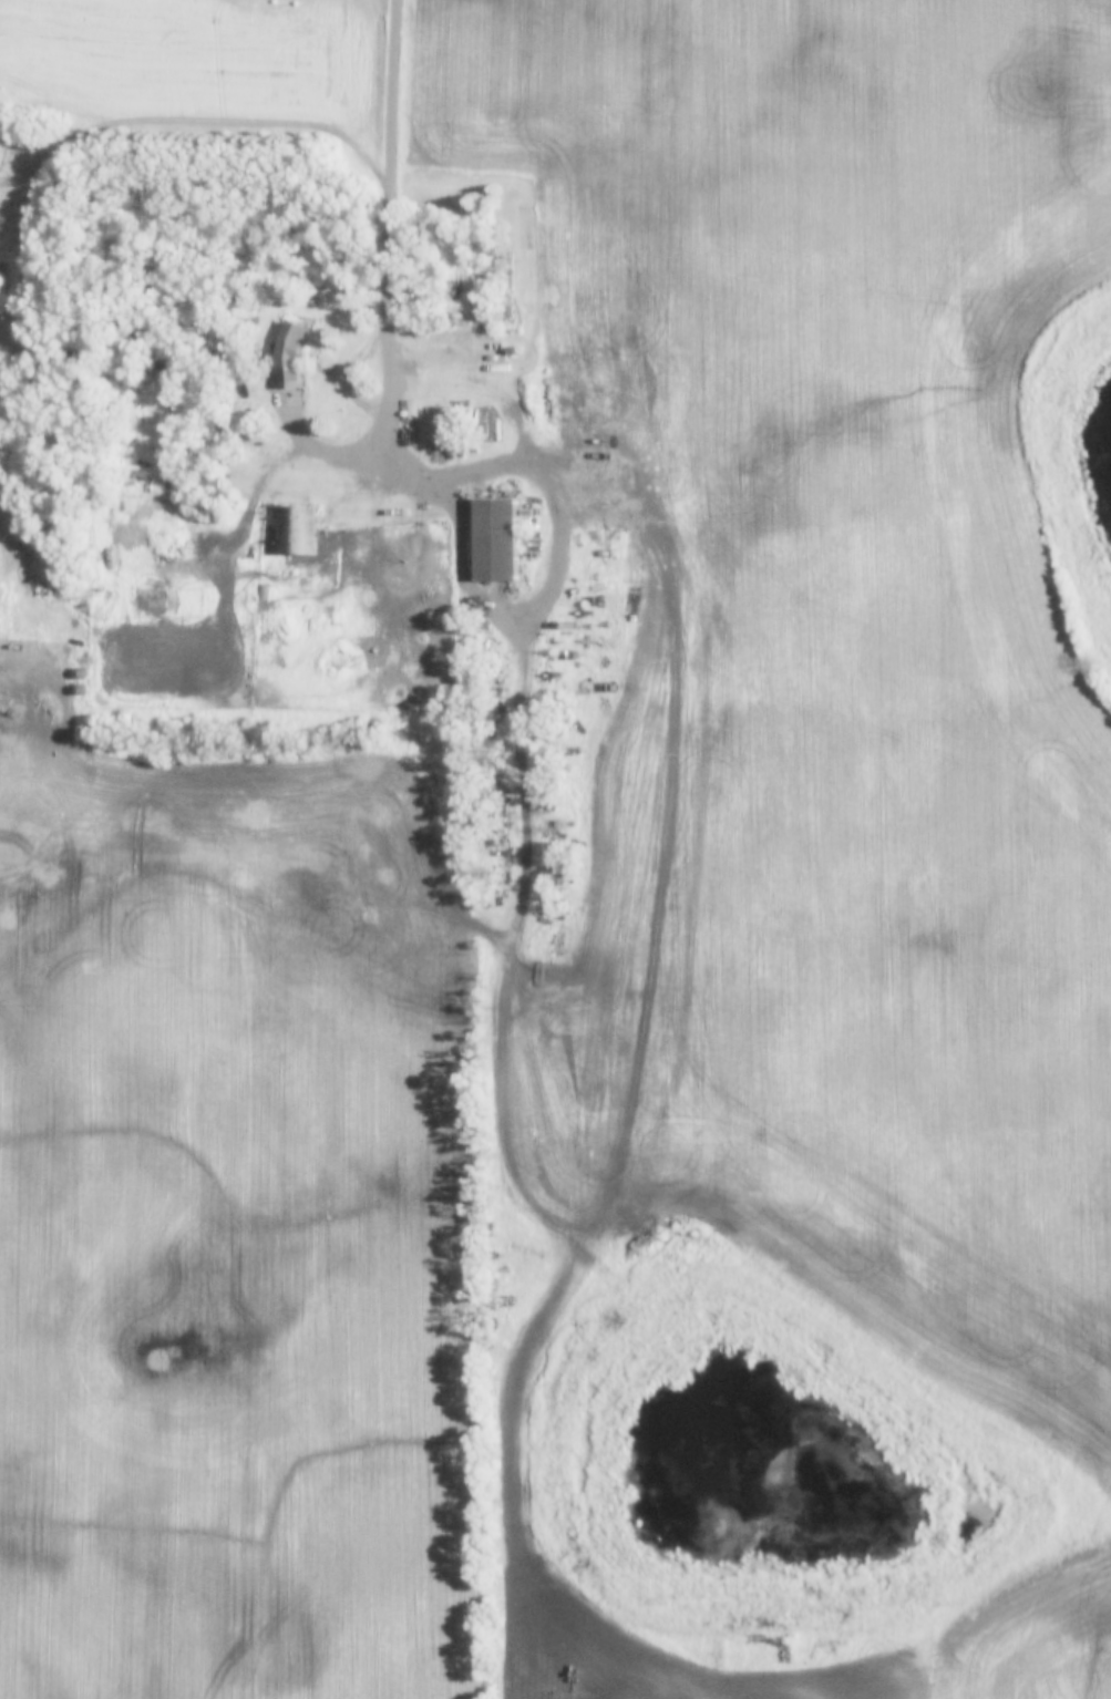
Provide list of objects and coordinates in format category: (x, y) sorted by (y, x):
road: (138, 125)
road: (394, 163)
building: (291, 354)
building: (163, 370)
silo: (163, 370)
road: (377, 412)
road: (545, 455)
building: (302, 531)
building: (497, 537)
building: (265, 593)
building: (153, 601)
building: (81, 673)
silo: (81, 673)
building: (81, 690)
silo: (81, 690)

